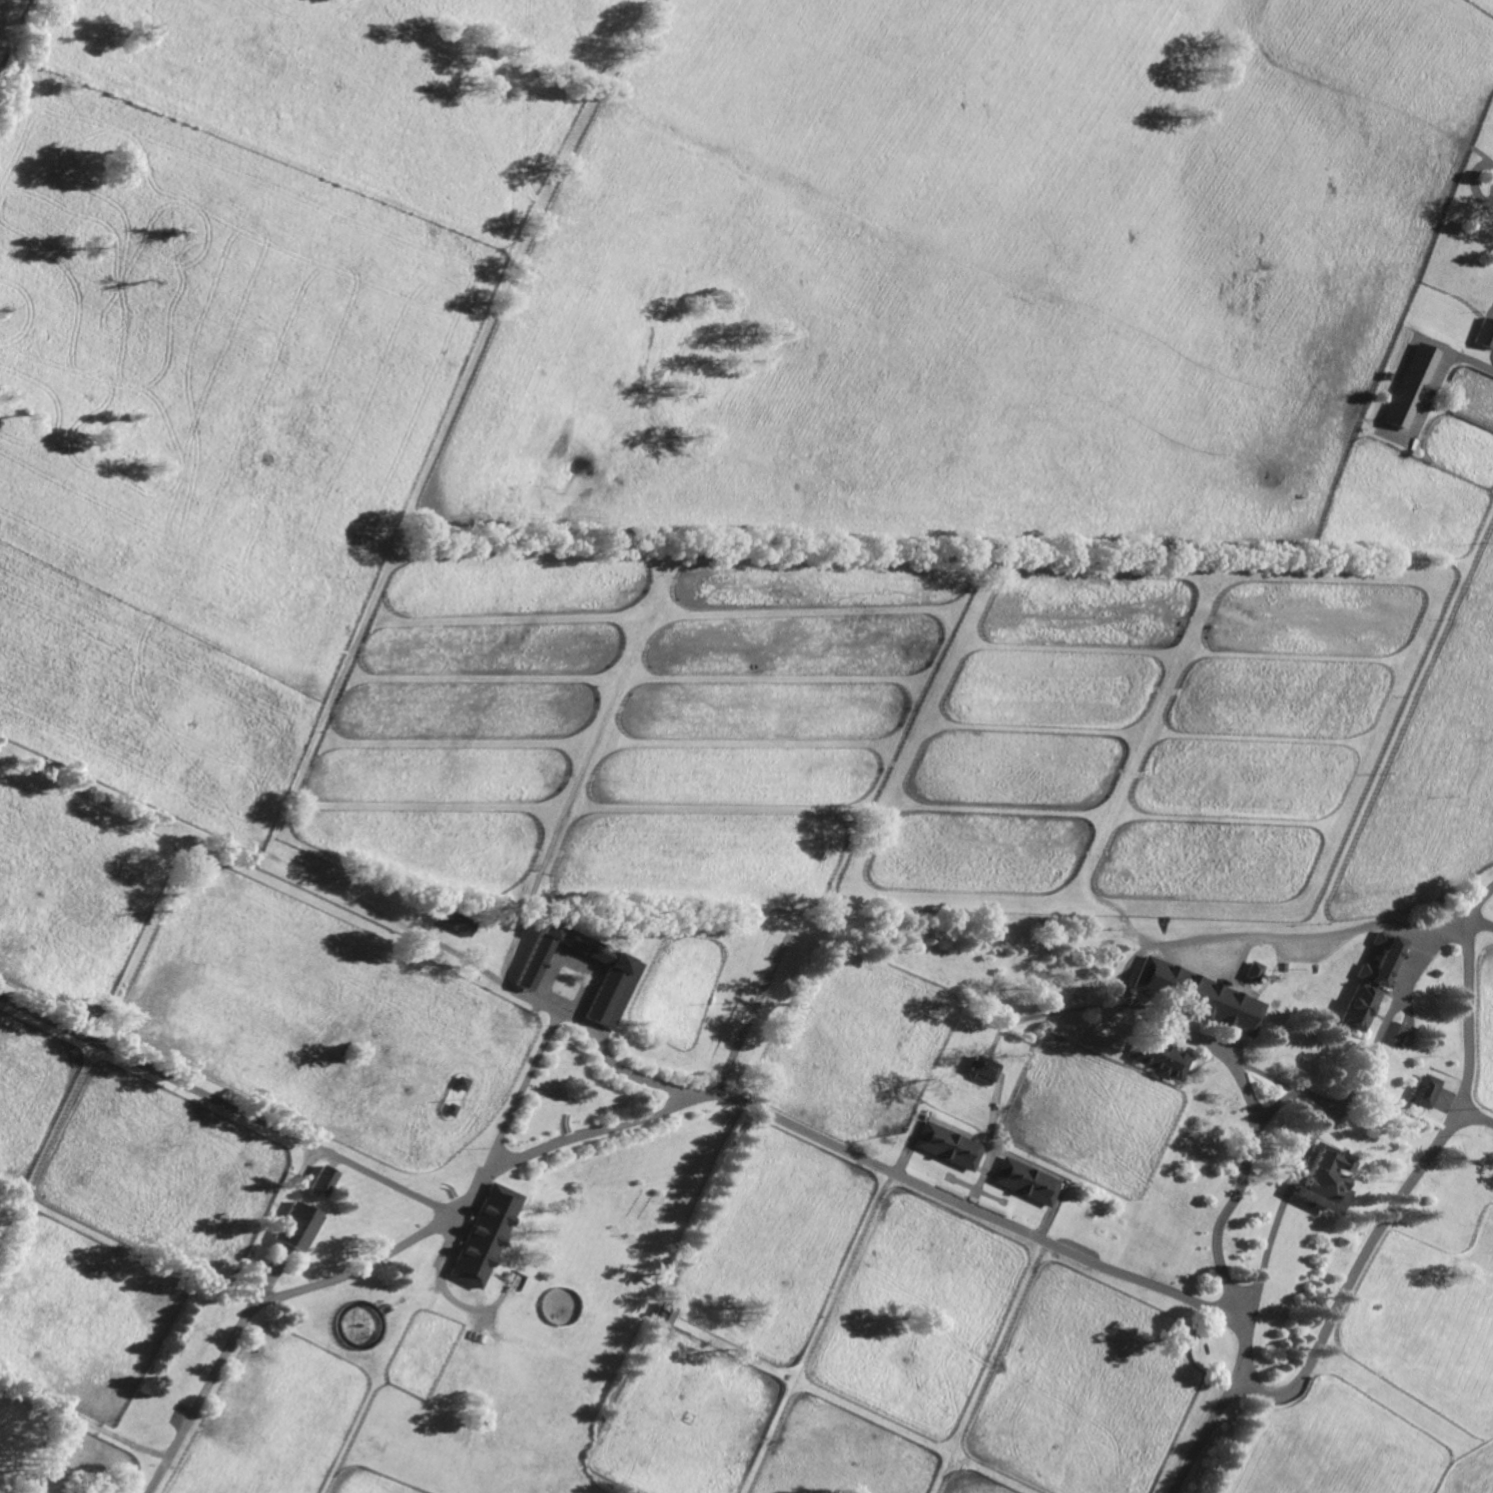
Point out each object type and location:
building: (1484, 333)
building: (1383, 376)
building: (1408, 386)
road: (521, 919)
building: (452, 920)
road: (1484, 922)
road: (424, 938)
road: (1182, 942)
building: (1377, 958)
building: (1249, 972)
building: (619, 975)
building: (1195, 995)
building: (1356, 1006)
road: (748, 1016)
road: (558, 1018)
building: (1394, 1033)
building: (1159, 1057)
building: (982, 1069)
building: (459, 1083)
building: (1423, 1090)
road: (225, 1103)
building: (448, 1109)
road: (642, 1116)
road: (1478, 1117)
road: (1317, 1134)
building: (947, 1146)
road: (1244, 1167)
building: (1322, 1175)
building: (320, 1180)
building: (1026, 1180)
building: (294, 1225)
building: (482, 1233)
road: (1380, 1242)
road: (263, 1283)
road: (440, 1291)
building: (662, 1315)

